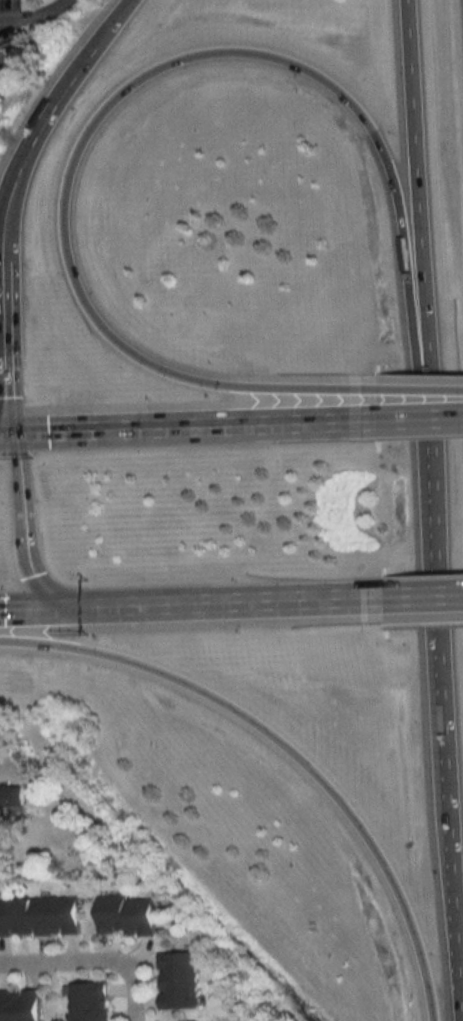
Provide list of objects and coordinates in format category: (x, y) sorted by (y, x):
road: (36, 15)
road: (114, 18)
road: (32, 140)
road: (414, 183)
road: (64, 204)
road: (403, 248)
road: (2, 345)
traffic signals: (4, 396)
road: (420, 400)
road: (421, 417)
road: (189, 425)
traffic signals: (48, 430)
road: (25, 527)
traffic signals: (32, 573)
road: (425, 593)
road: (194, 601)
traffic signals: (5, 608)
road: (426, 622)
road: (442, 694)
road: (289, 747)
building: (9, 798)
building: (123, 915)
building: (38, 916)
road: (66, 961)
building: (176, 980)
road: (132, 996)
building: (88, 1001)
building: (19, 1006)

